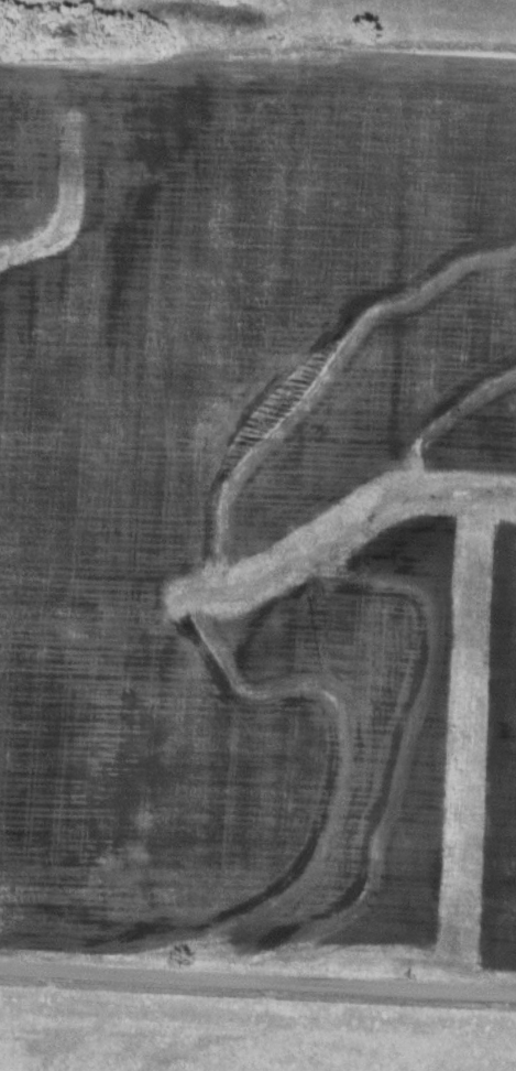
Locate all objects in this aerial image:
road: (257, 983)

